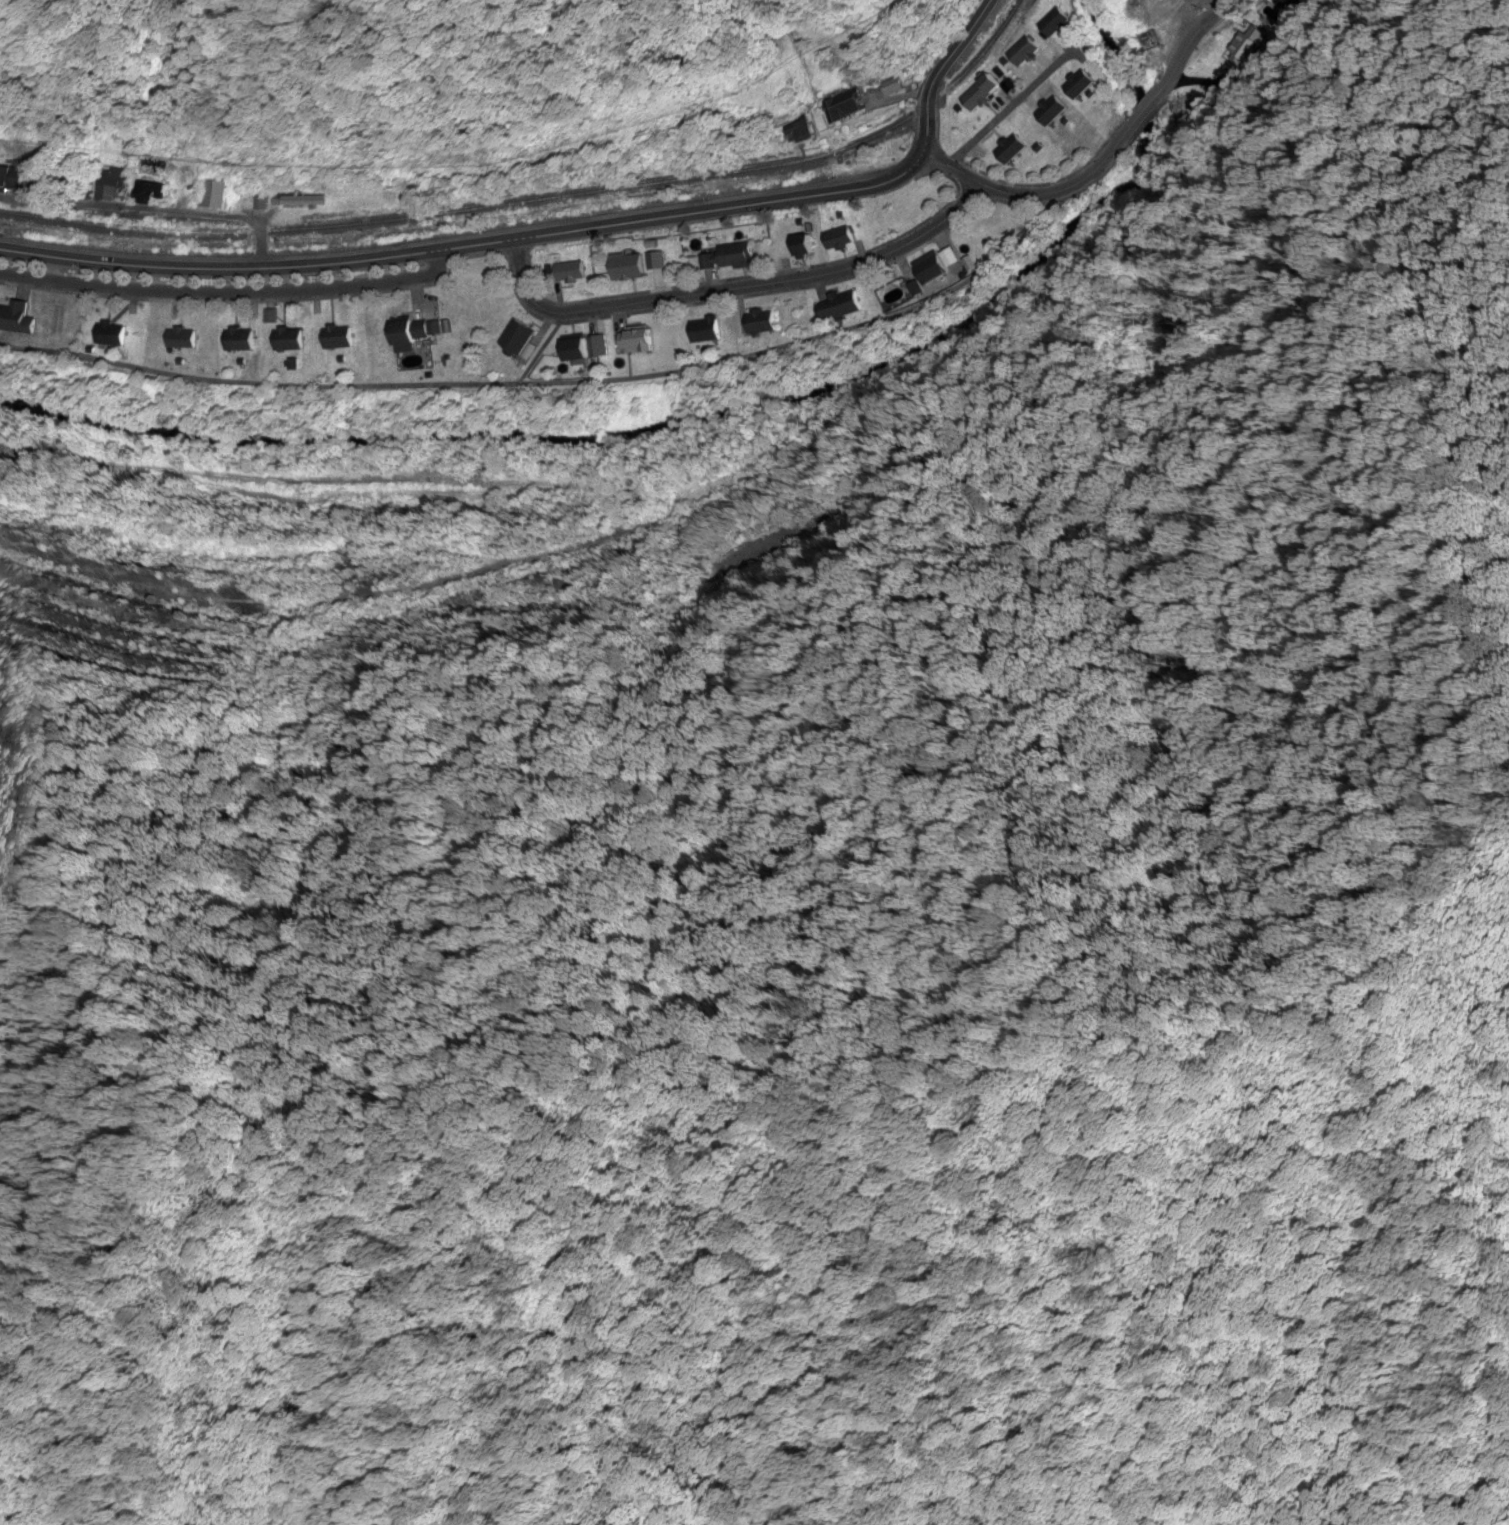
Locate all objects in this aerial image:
road: (948, 58)
road: (1105, 160)
building: (8, 178)
building: (72, 180)
building: (105, 185)
building: (145, 193)
railway: (539, 201)
road: (482, 244)
road: (731, 290)
road: (230, 295)
building: (12, 317)
building: (404, 332)
building: (106, 335)
building: (333, 338)
building: (176, 339)
building: (234, 340)
building: (284, 340)

